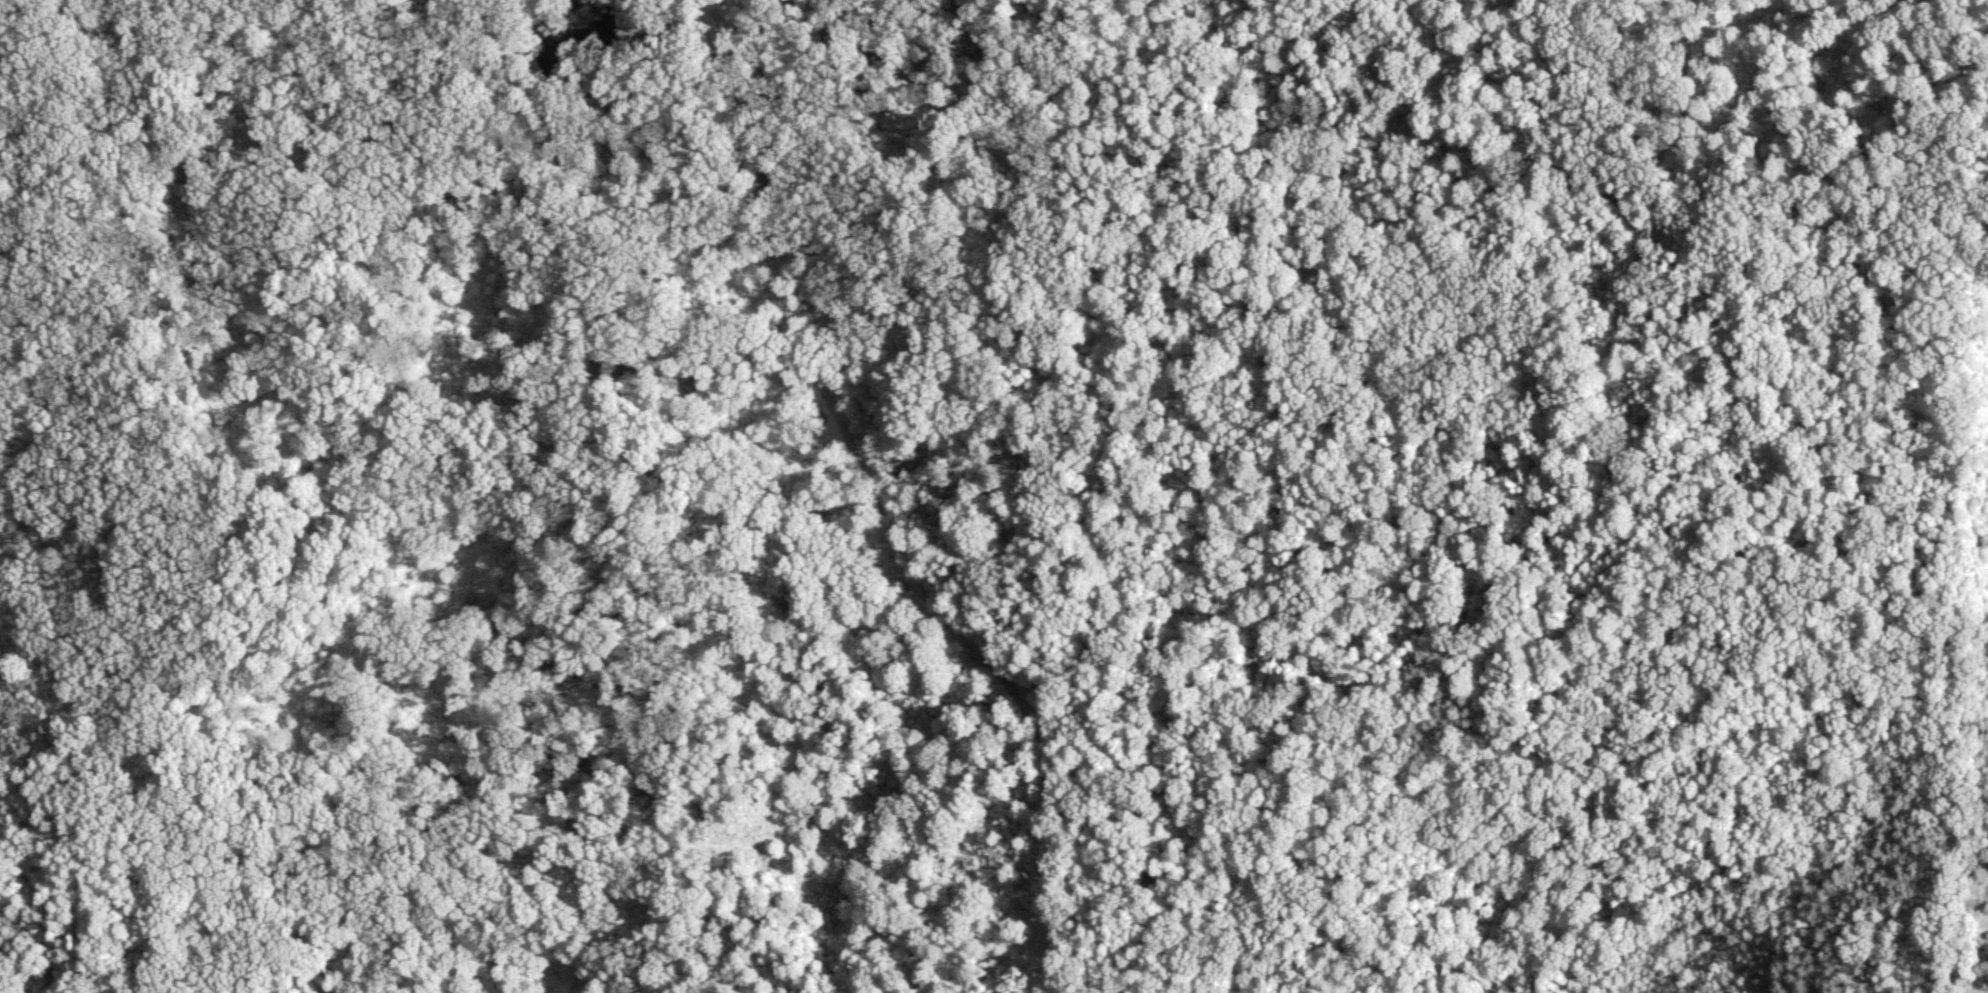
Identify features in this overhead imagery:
road: (187, 122)
road: (879, 507)
road: (224, 643)

